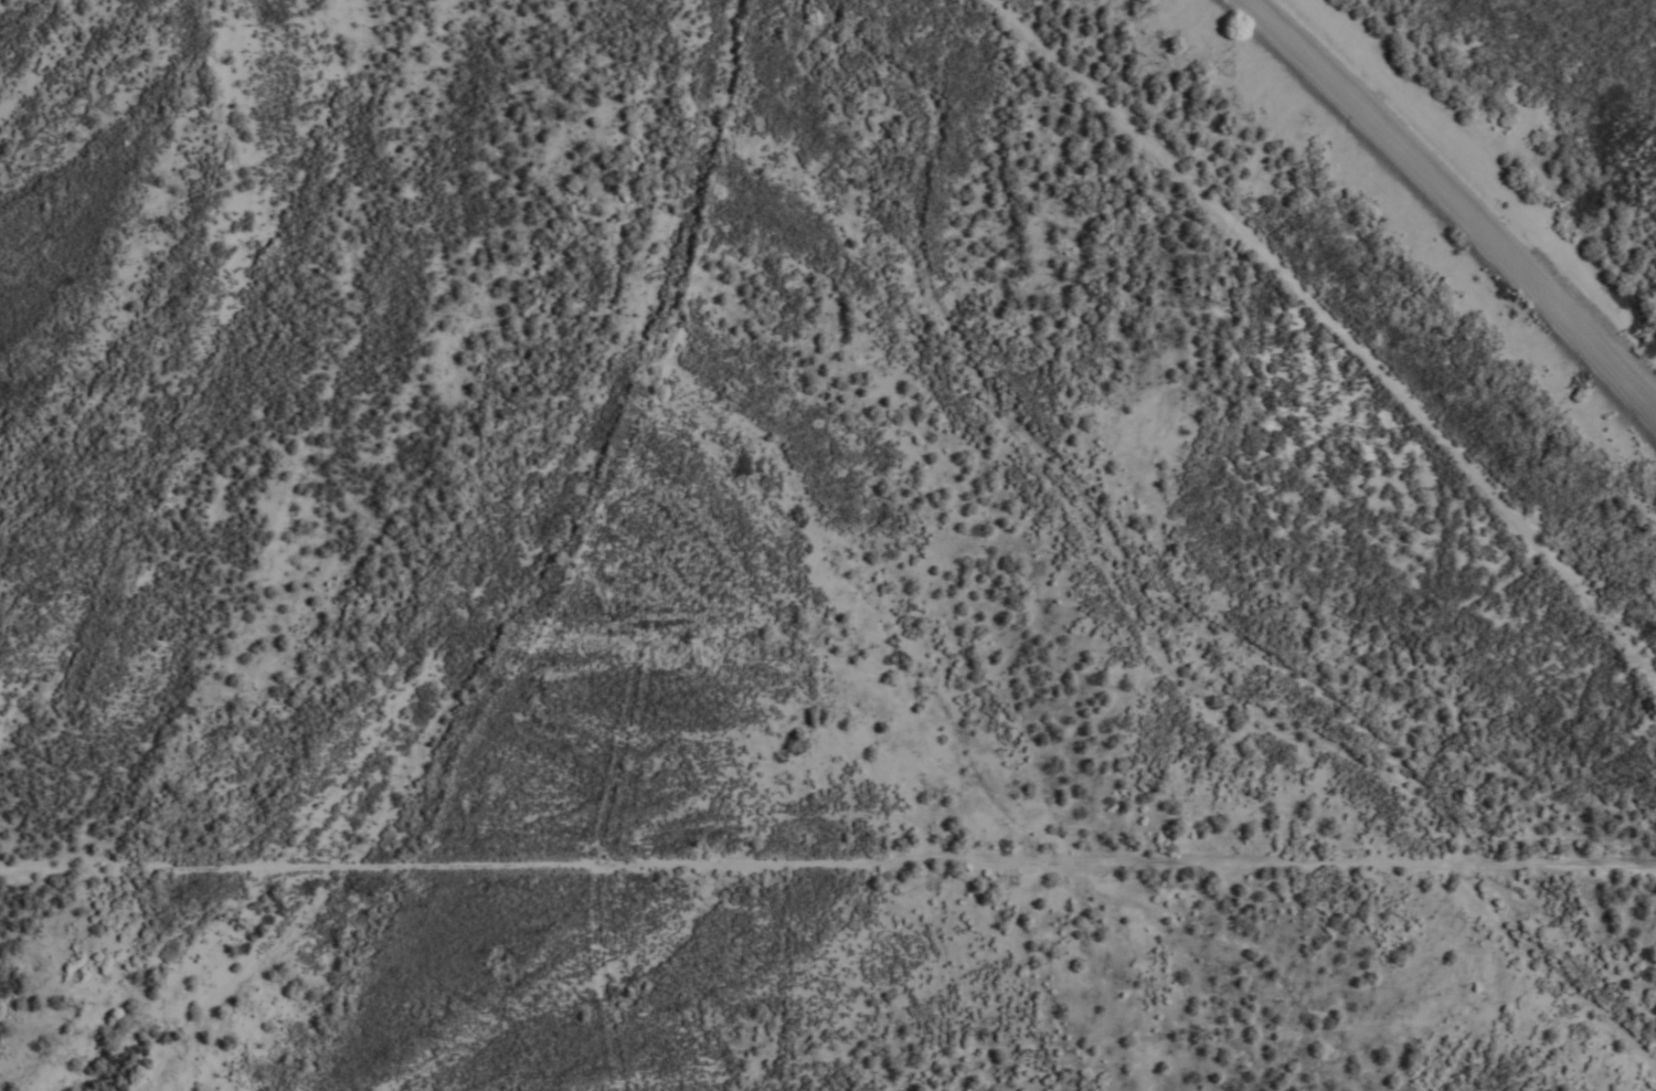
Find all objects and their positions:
road: (1444, 213)

